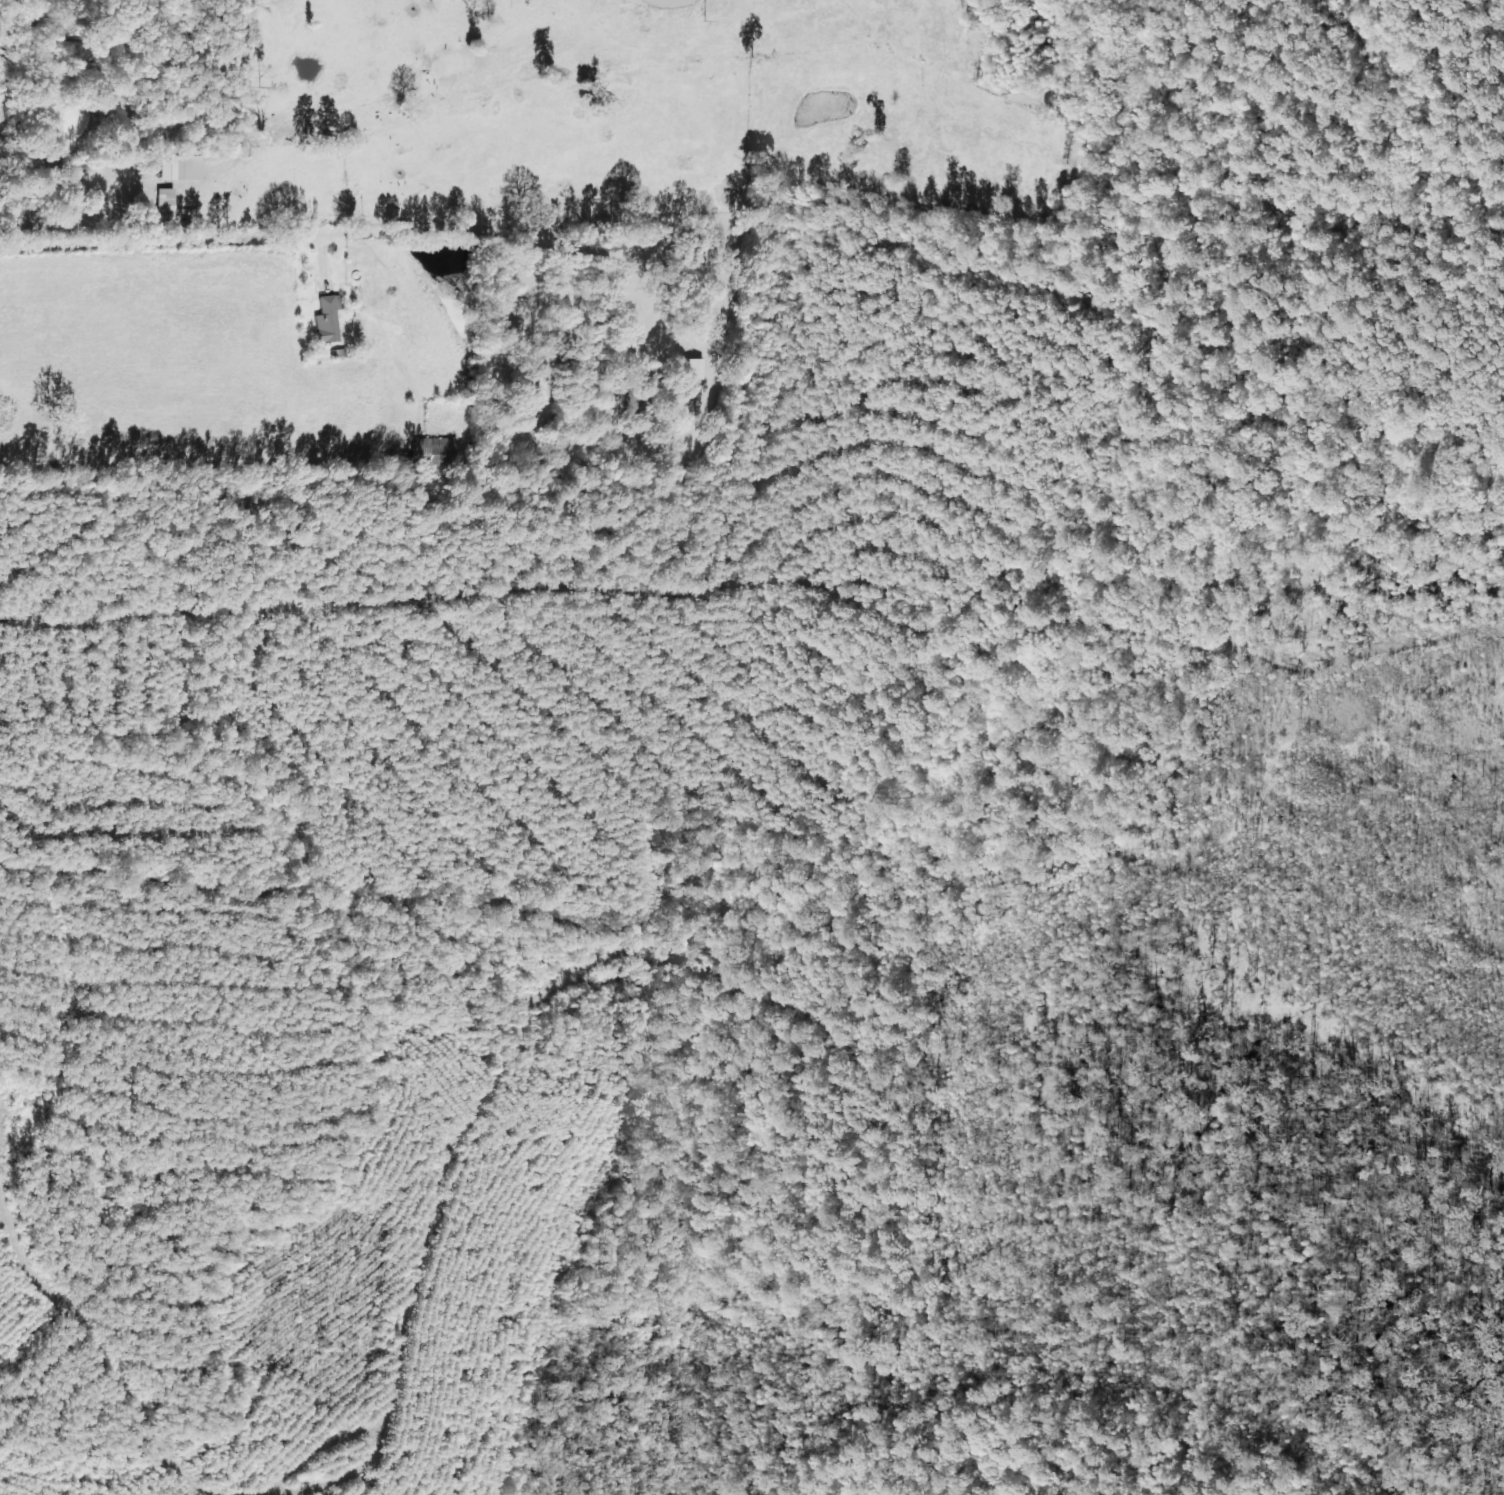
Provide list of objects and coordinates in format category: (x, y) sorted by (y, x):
building: (185, 168)
building: (171, 202)
building: (330, 321)
building: (698, 373)
road: (107, 1337)

